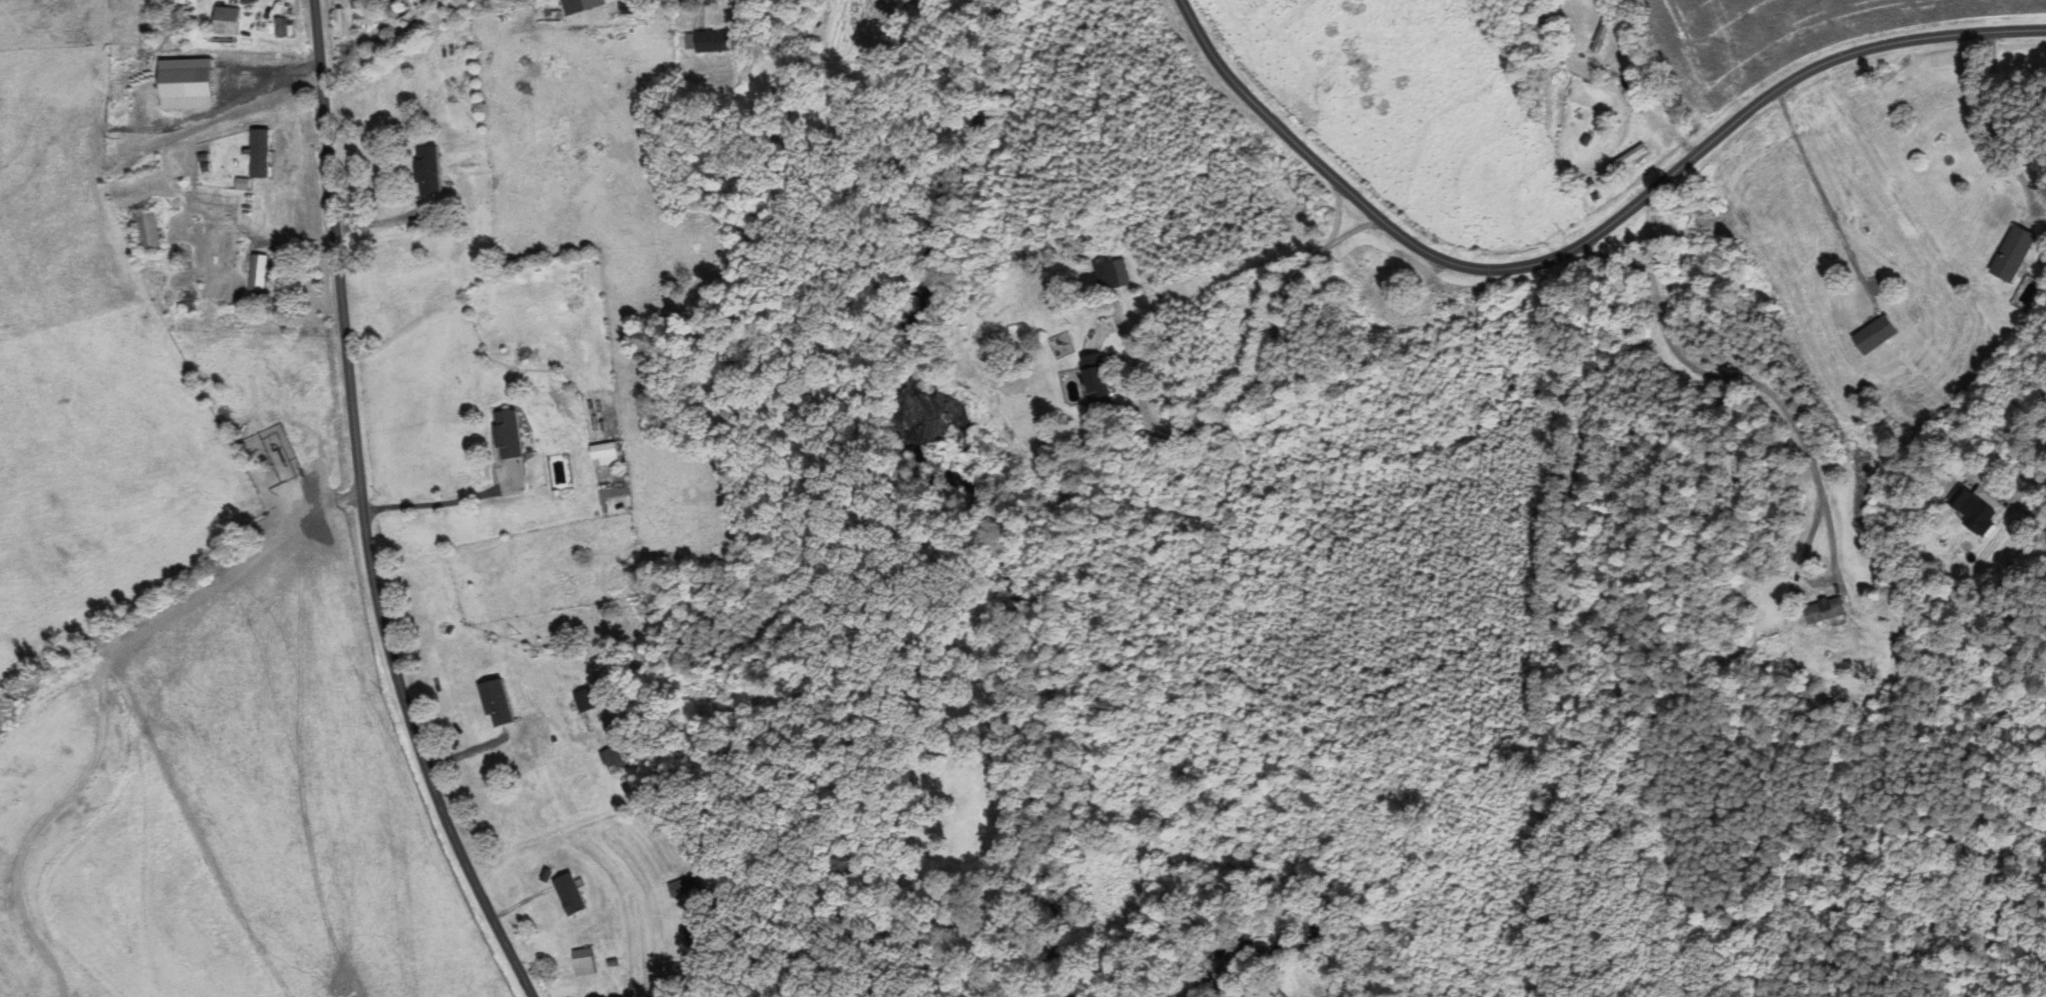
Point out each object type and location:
building: (582, 5)
road: (701, 11)
building: (227, 20)
building: (283, 27)
building: (1606, 34)
building: (710, 40)
building: (1635, 85)
road: (1993, 128)
building: (1623, 160)
building: (431, 169)
road: (1821, 190)
road: (1337, 219)
building: (155, 231)
road: (1582, 246)
building: (2022, 251)
building: (264, 271)
building: (1106, 275)
building: (1880, 335)
road: (1707, 368)
building: (1097, 379)
road: (1251, 391)
building: (512, 433)
building: (609, 453)
road: (437, 503)
building: (1971, 511)
road: (364, 513)
road: (2031, 519)
building: (1824, 609)
building: (592, 699)
building: (502, 703)
building: (617, 759)
building: (681, 886)
building: (569, 894)
building: (694, 938)
building: (586, 961)

